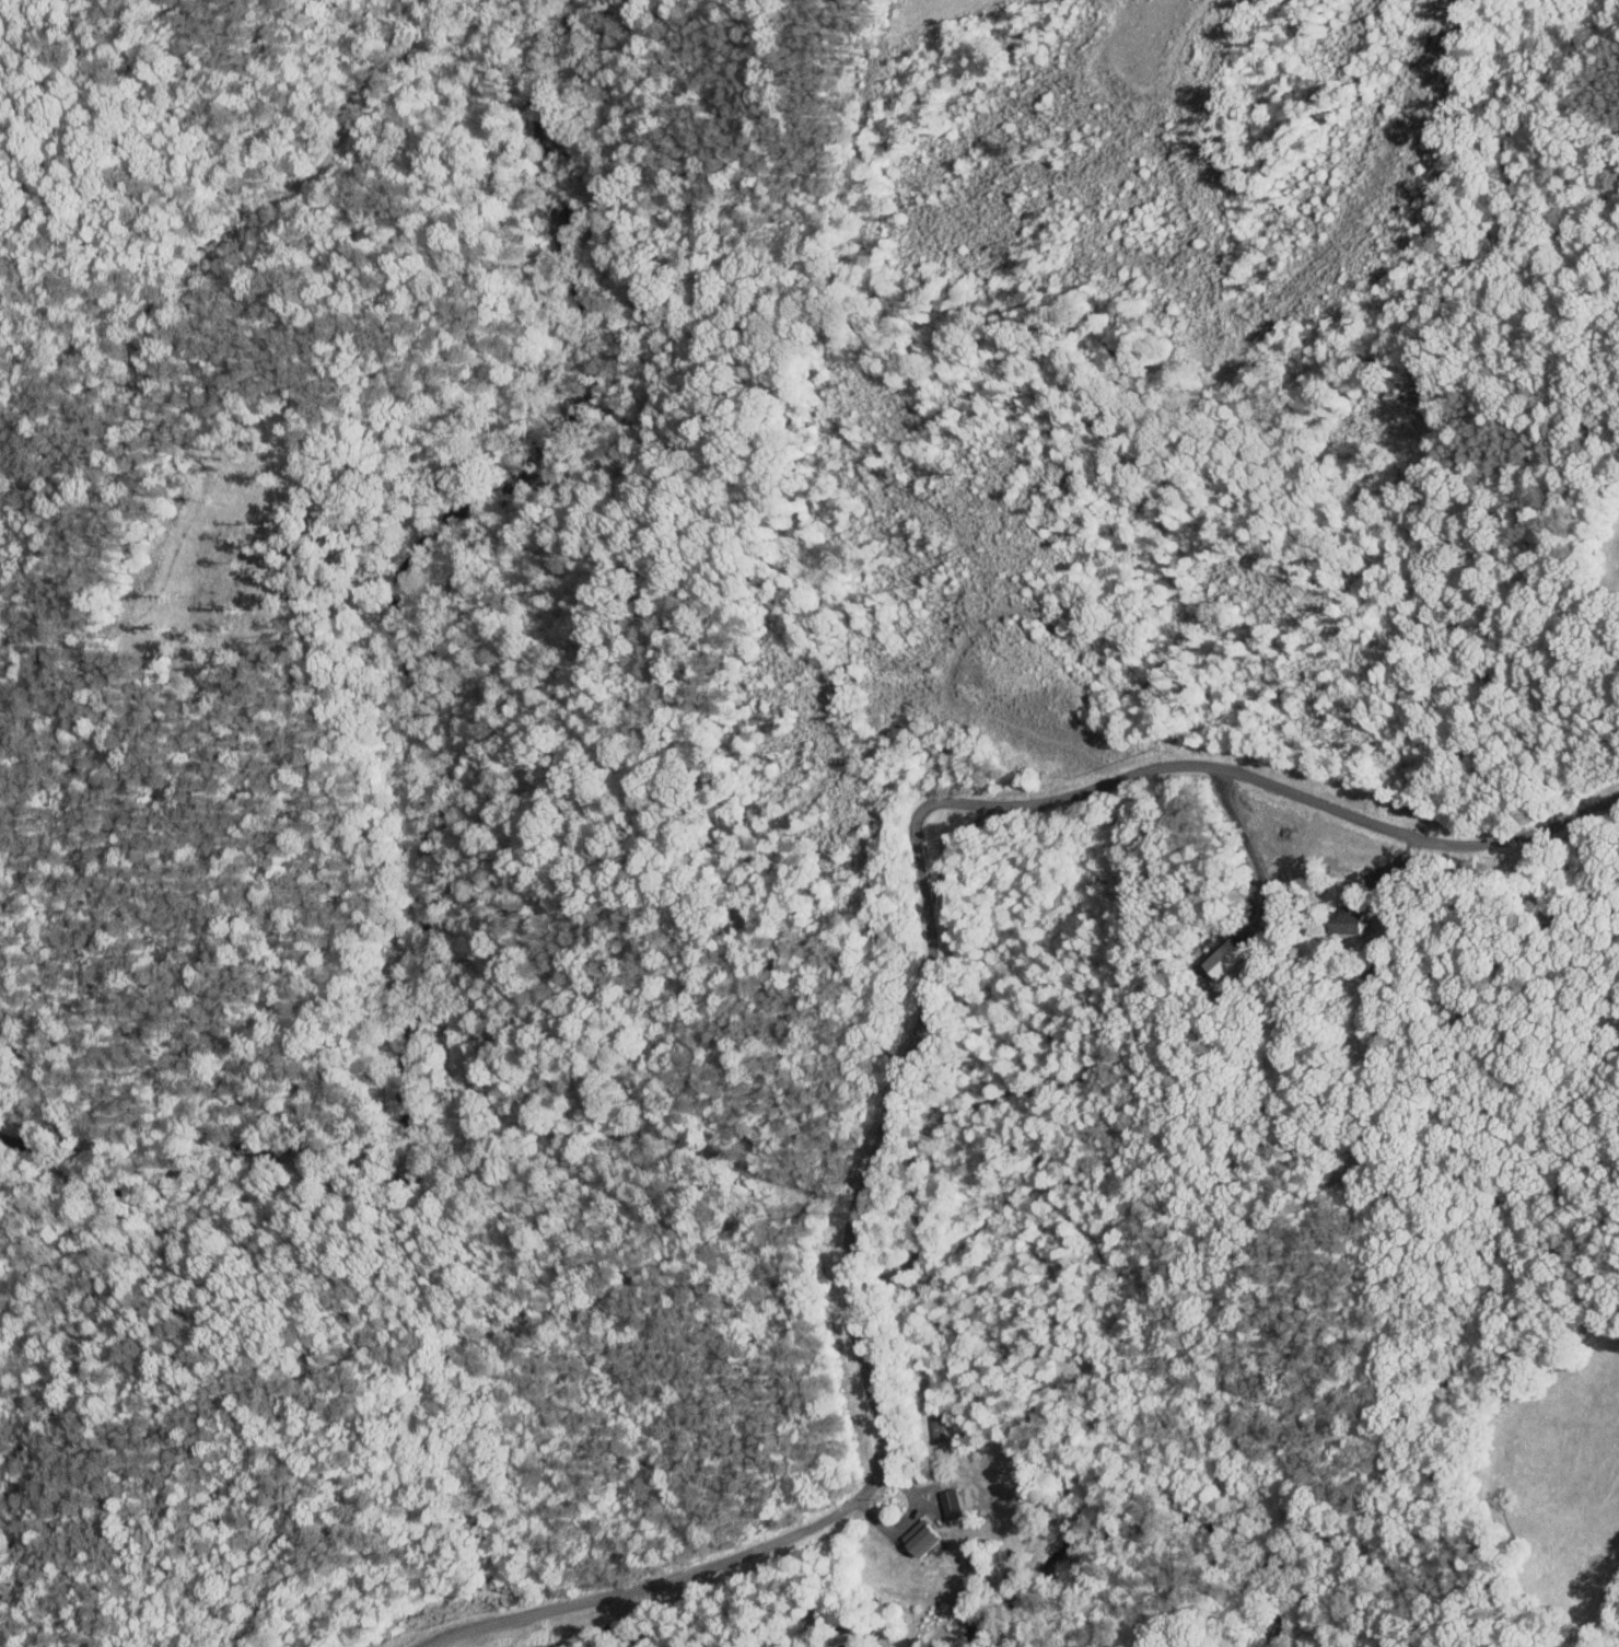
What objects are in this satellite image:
road: (907, 1042)
building: (947, 1504)
building: (919, 1542)

